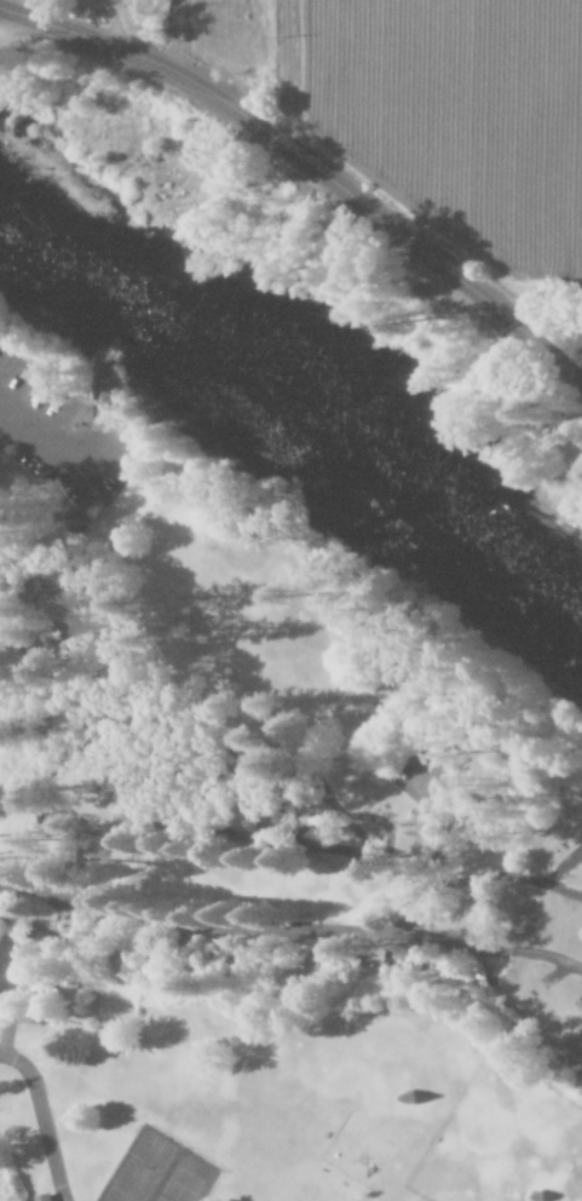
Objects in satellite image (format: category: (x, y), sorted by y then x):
road: (283, 73)
crop: (461, 121)
road: (307, 165)
river: (302, 384)
road: (16, 430)
road: (50, 437)
building: (70, 522)
road: (31, 590)
road: (52, 622)
road: (60, 650)
road: (128, 671)
road: (67, 688)
building: (365, 711)
road: (80, 719)
road: (202, 732)
road: (257, 741)
road: (165, 746)
road: (180, 770)
building: (109, 785)
road: (142, 797)
road: (258, 798)
road: (202, 800)
road: (275, 812)
road: (353, 816)
park: (263, 844)
road: (432, 844)
road: (495, 875)
road: (405, 885)
road: (28, 886)
building: (41, 936)
road: (491, 953)
building: (0, 1000)
road: (41, 1120)
building: (41, 1197)

